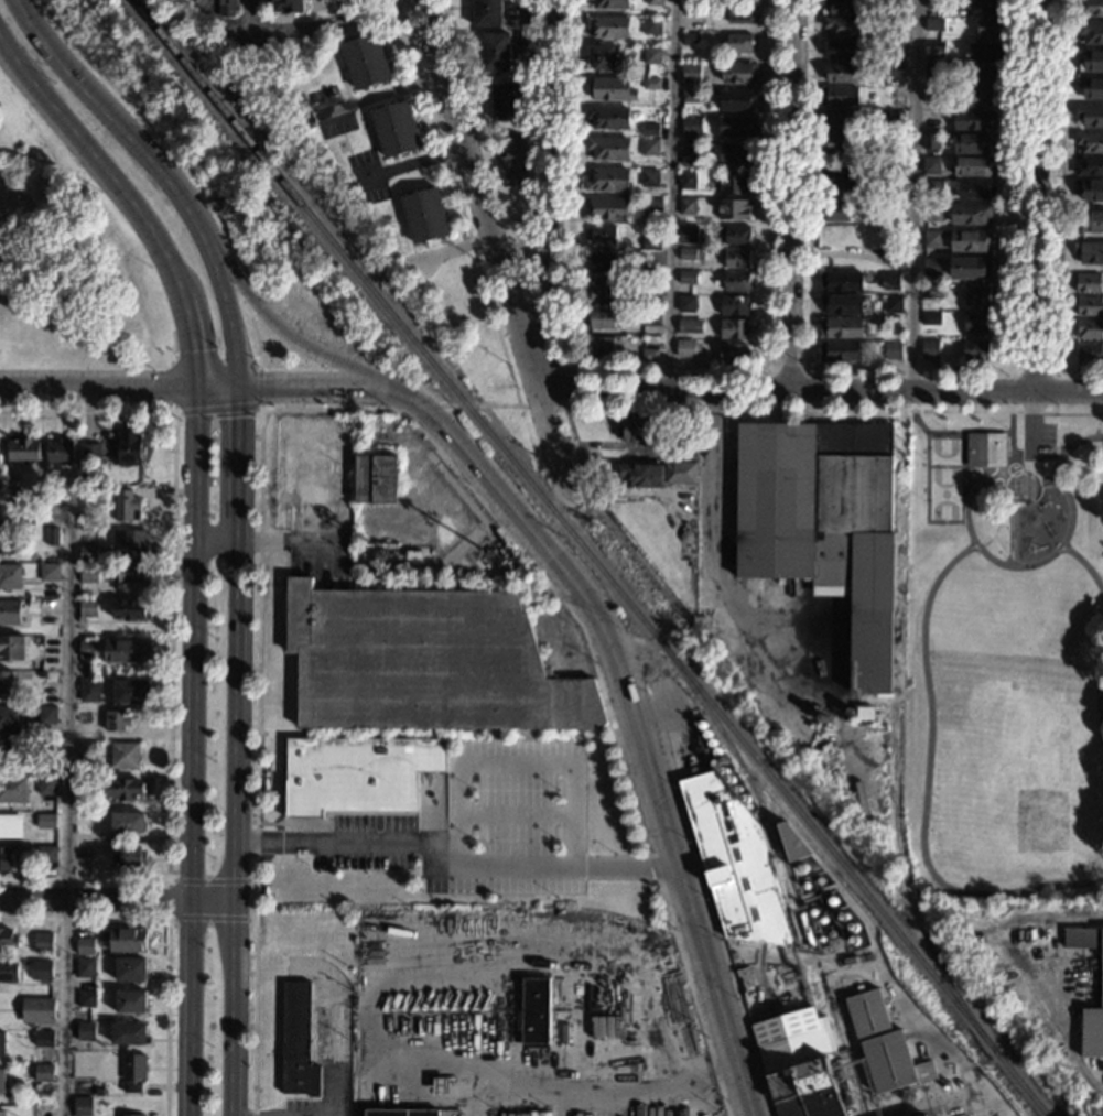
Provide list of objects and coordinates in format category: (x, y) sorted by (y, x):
building: (655, 2)
building: (612, 4)
building: (933, 4)
building: (288, 6)
building: (844, 6)
building: (899, 6)
building: (990, 6)
building: (228, 7)
building: (1091, 7)
building: (693, 9)
building: (740, 12)
building: (487, 13)
building: (934, 23)
road: (334, 24)
building: (899, 24)
building: (652, 25)
building: (844, 25)
building: (608, 26)
building: (992, 26)
road: (234, 29)
building: (1091, 31)
building: (691, 40)
building: (739, 43)
building: (894, 48)
building: (842, 50)
building: (934, 51)
building: (496, 52)
building: (986, 52)
building: (239, 53)
building: (652, 55)
building: (605, 56)
building: (366, 59)
building: (1091, 61)
building: (932, 69)
building: (895, 72)
building: (691, 73)
building: (739, 73)
building: (842, 73)
building: (983, 75)
building: (652, 83)
building: (610, 88)
building: (1092, 89)
building: (896, 93)
road: (379, 95)
building: (839, 95)
building: (931, 95)
building: (690, 96)
building: (975, 97)
building: (737, 99)
building: (506, 100)
building: (896, 116)
building: (1090, 116)
building: (608, 117)
building: (841, 117)
building: (310, 118)
building: (930, 119)
building: (974, 120)
building: (691, 126)
building: (737, 127)
building: (396, 129)
building: (650, 129)
road: (159, 137)
building: (840, 141)
building: (930, 141)
building: (1090, 142)
building: (974, 143)
building: (649, 147)
building: (608, 148)
road: (486, 152)
building: (736, 152)
building: (690, 154)
road: (96, 160)
building: (931, 165)
building: (973, 166)
building: (1089, 166)
road: (163, 174)
building: (894, 174)
building: (650, 177)
building: (840, 178)
building: (607, 180)
building: (686, 180)
building: (735, 182)
building: (932, 186)
building: (975, 188)
building: (1091, 189)
road: (551, 193)
road: (671, 193)
road: (791, 194)
road: (916, 195)
road: (1035, 196)
road: (458, 203)
building: (686, 206)
building: (607, 207)
building: (652, 207)
building: (734, 208)
road: (1056, 208)
building: (835, 212)
building: (932, 212)
building: (970, 213)
building: (424, 215)
building: (1091, 220)
building: (688, 234)
building: (603, 235)
building: (737, 236)
building: (932, 239)
building: (970, 240)
road: (494, 243)
building: (650, 243)
building: (894, 245)
building: (1089, 252)
building: (691, 253)
building: (641, 254)
building: (895, 257)
building: (737, 258)
park: (68, 261)
building: (603, 263)
building: (932, 267)
building: (971, 268)
building: (652, 272)
building: (688, 277)
building: (890, 281)
building: (736, 282)
building: (842, 282)
building: (1089, 282)
building: (652, 286)
building: (602, 291)
building: (931, 292)
building: (977, 295)
road: (249, 296)
building: (686, 303)
building: (842, 304)
building: (894, 304)
building: (734, 305)
building: (1090, 306)
road: (548, 314)
building: (651, 317)
building: (602, 318)
building: (931, 318)
building: (976, 323)
building: (690, 325)
building: (842, 327)
building: (734, 328)
building: (1089, 328)
road: (280, 329)
road: (255, 333)
road: (191, 336)
building: (602, 346)
building: (685, 348)
building: (930, 348)
building: (975, 349)
traffic signals: (193, 350)
building: (841, 350)
building: (891, 350)
building: (1088, 351)
building: (734, 353)
building: (649, 354)
road: (668, 368)
road: (910, 369)
road: (1032, 370)
road: (770, 371)
road: (97, 387)
traffic signals: (166, 387)
traffic signals: (263, 387)
road: (291, 387)
road: (819, 390)
road: (484, 407)
road: (424, 409)
road: (561, 409)
road: (374, 411)
road: (789, 411)
road: (207, 412)
traffic signals: (236, 416)
road: (1032, 425)
building: (639, 426)
road: (956, 431)
parking lot: (1037, 441)
building: (684, 445)
building: (129, 447)
road: (1047, 447)
road: (1060, 447)
building: (985, 448)
building: (23, 449)
building: (61, 451)
building: (91, 451)
road: (236, 454)
road: (1056, 461)
building: (680, 473)
road: (987, 474)
building: (640, 475)
building: (375, 478)
park: (942, 478)
road: (1010, 488)
building: (66, 497)
building: (126, 505)
building: (823, 523)
building: (53, 537)
building: (685, 537)
road: (215, 539)
building: (6, 540)
road: (712, 540)
building: (129, 542)
building: (88, 552)
building: (377, 553)
building: (413, 554)
railway: (592, 557)
road: (999, 561)
road: (1085, 564)
building: (50, 572)
building: (131, 573)
building: (87, 574)
building: (10, 576)
building: (33, 602)
road: (193, 604)
building: (87, 607)
building: (129, 609)
building: (10, 611)
road: (171, 643)
park: (1006, 647)
building: (12, 648)
building: (88, 649)
building: (126, 650)
building: (425, 662)
building: (42, 673)
building: (6, 682)
building: (88, 690)
building: (131, 692)
road: (1100, 700)
building: (865, 713)
building: (46, 714)
road: (629, 715)
building: (10, 717)
building: (116, 719)
building: (85, 749)
building: (11, 754)
building: (125, 755)
road: (518, 763)
building: (47, 765)
building: (356, 773)
railway: (895, 773)
road: (69, 779)
building: (46, 784)
road: (924, 788)
building: (12, 789)
building: (125, 789)
road: (512, 813)
road: (234, 819)
building: (46, 821)
building: (128, 822)
parking lot: (482, 823)
building: (10, 825)
railway: (770, 828)
building: (790, 839)
building: (775, 841)
road: (453, 850)
building: (45, 854)
building: (130, 856)
building: (4, 858)
road: (190, 860)
building: (736, 864)
road: (95, 897)
road: (167, 898)
road: (212, 900)
road: (709, 907)
road: (166, 933)
building: (8, 939)
building: (128, 940)
building: (43, 942)
building: (84, 945)
building: (85, 967)
building: (130, 968)
building: (41, 969)
building: (8, 971)
building: (1101, 983)
building: (86, 998)
railway: (831, 1000)
building: (131, 1001)
road: (190, 1008)
building: (37, 1010)
building: (533, 1012)
road: (340, 1027)
building: (85, 1030)
building: (128, 1033)
building: (44, 1038)
building: (296, 1041)
building: (1, 1043)
building: (884, 1045)
building: (133, 1066)
building: (43, 1072)
building: (805, 1072)
building: (2, 1081)
building: (440, 1084)
building: (131, 1086)
building: (98, 1091)
building: (82, 1106)
building: (400, 1112)
building: (1, 1113)
building: (133, 1115)
building: (924, 1115)

